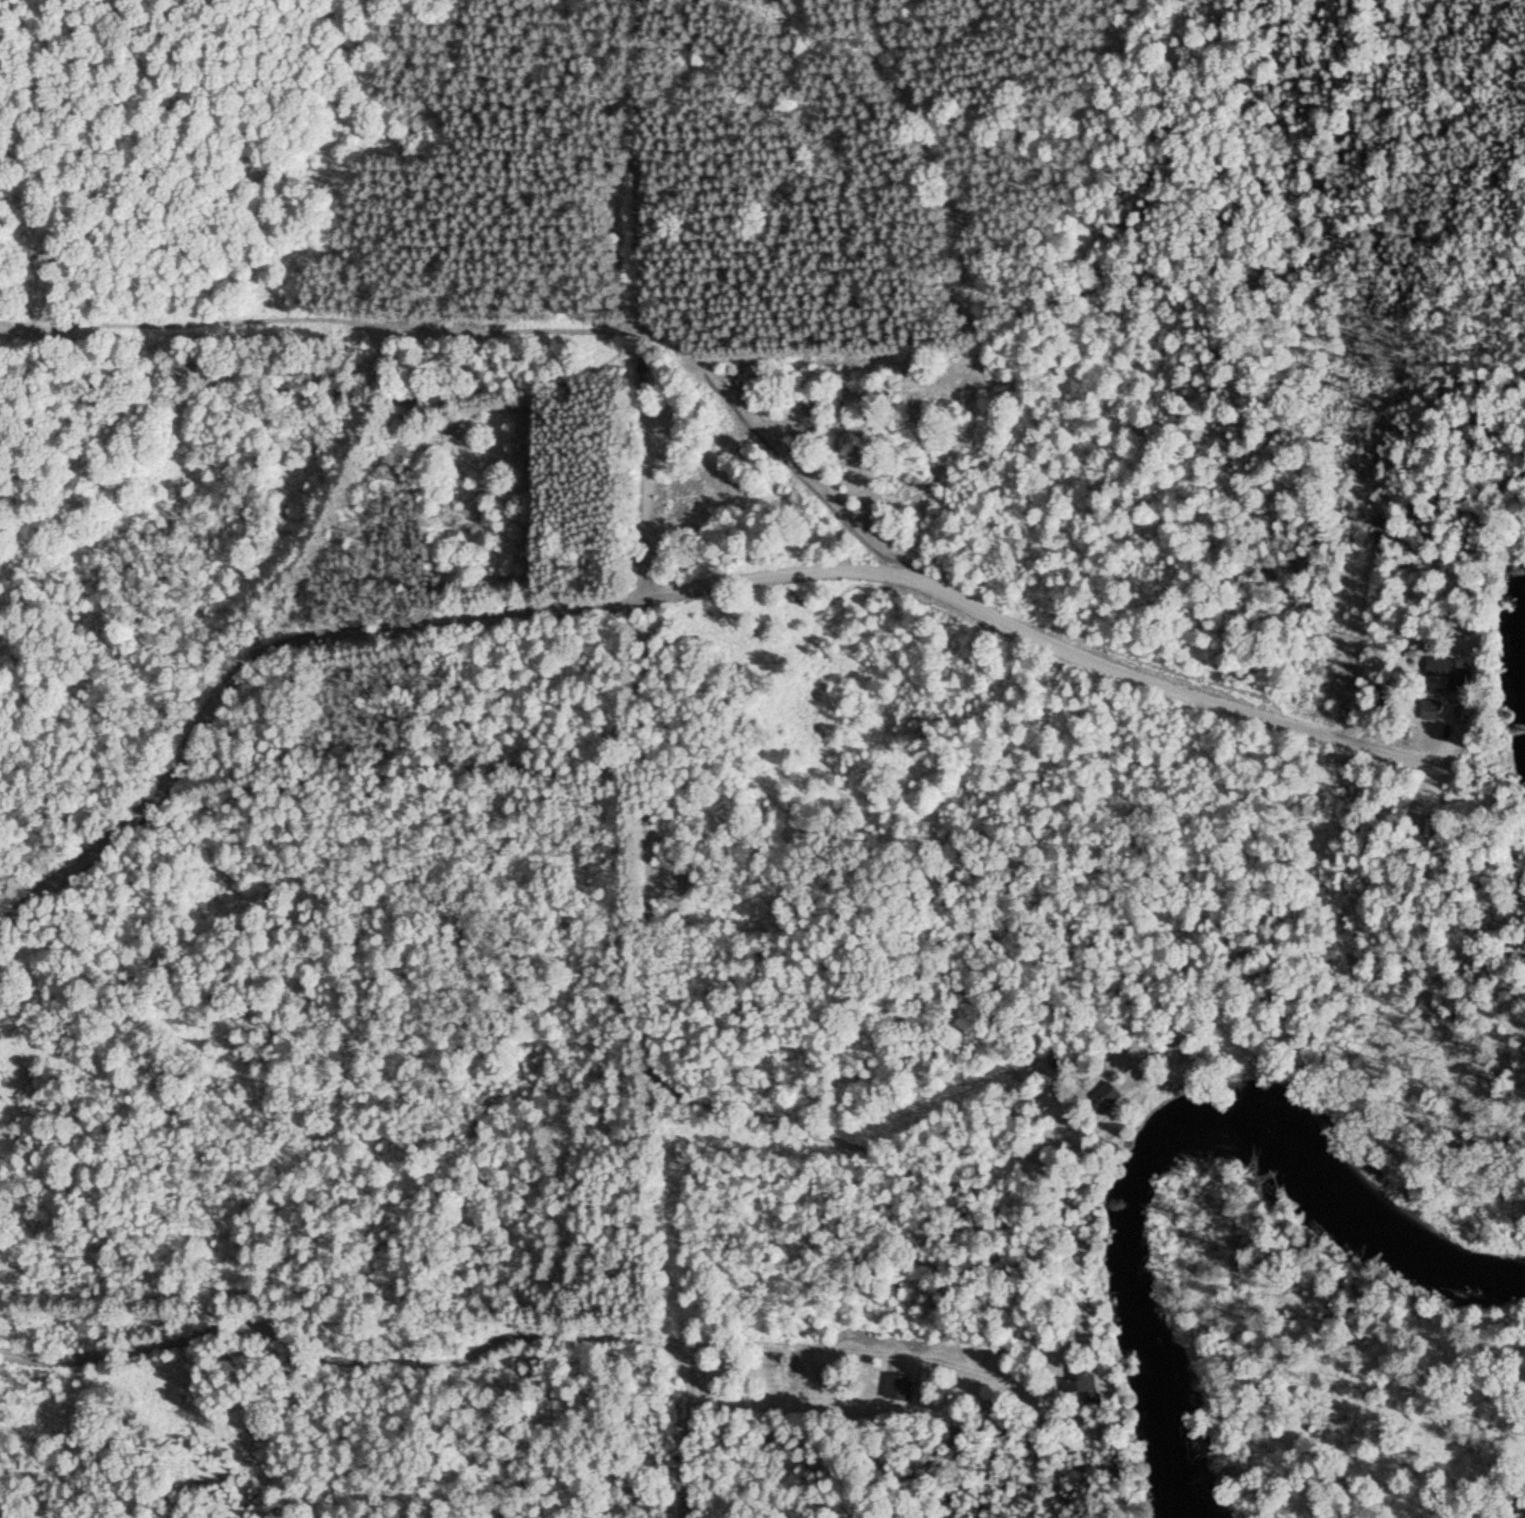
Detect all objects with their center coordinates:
road: (645, 300)
road: (395, 628)
building: (1455, 669)
road: (1173, 684)
building: (1387, 705)
building: (1436, 708)
road: (1460, 710)
road: (1444, 769)
road: (1170, 869)
road: (624, 1056)
building: (1113, 1092)
river: (1170, 1146)
road: (848, 1349)
road: (421, 1357)
building: (1087, 1382)
building: (901, 1386)

